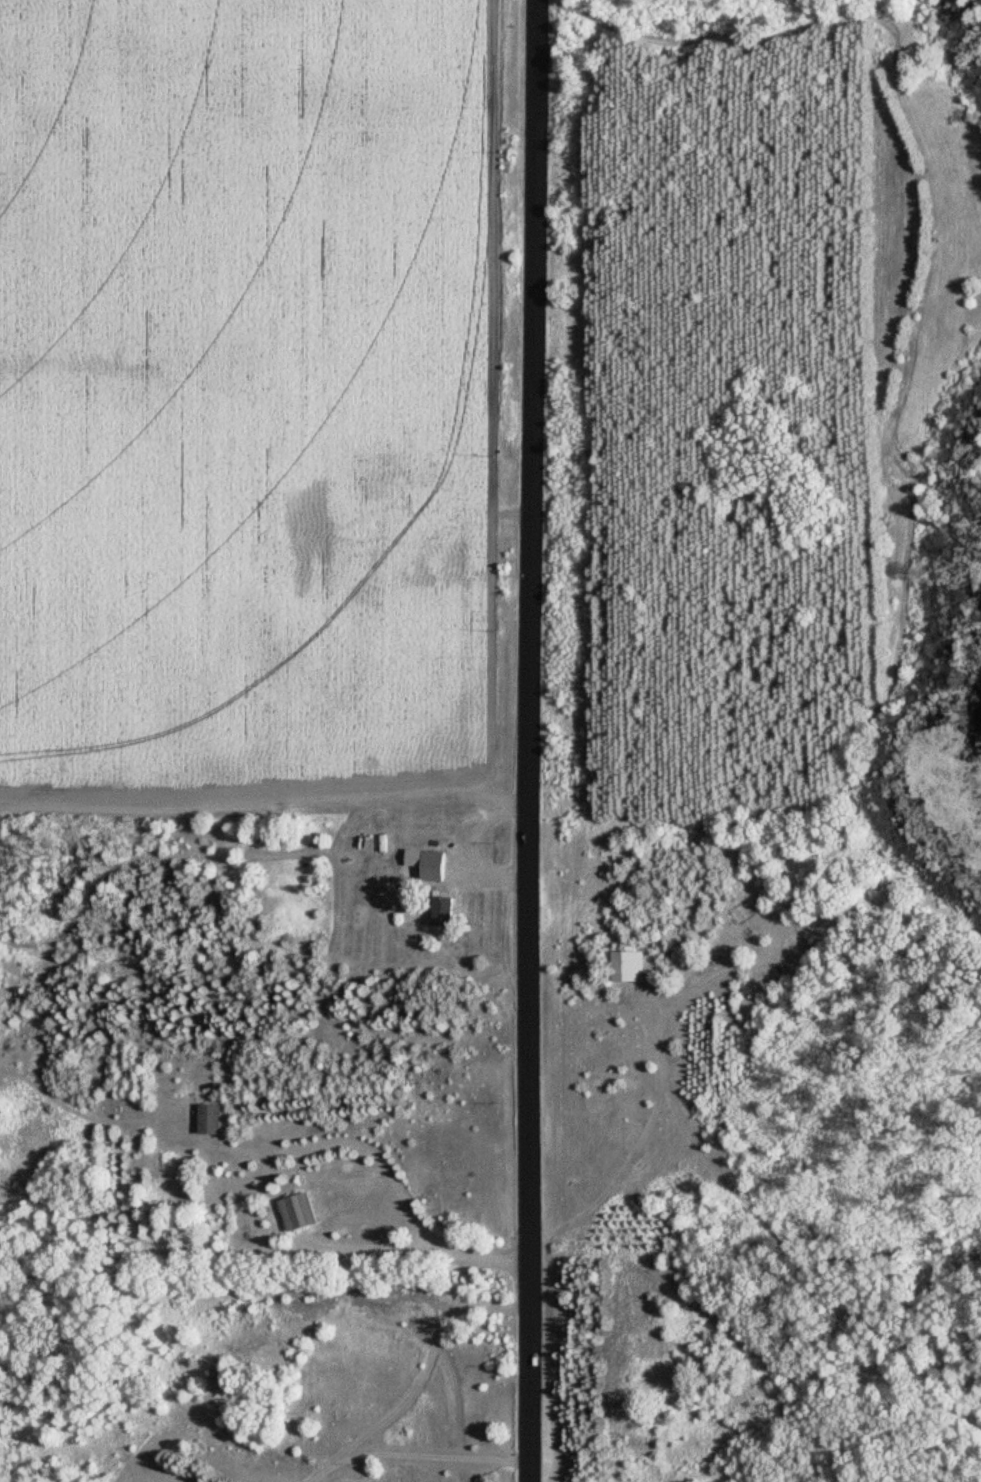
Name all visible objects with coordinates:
road: (526, 740)
building: (428, 864)
building: (443, 910)
building: (624, 965)
building: (209, 1118)
building: (298, 1211)
road: (402, 1248)
road: (415, 1380)
road: (428, 1456)

